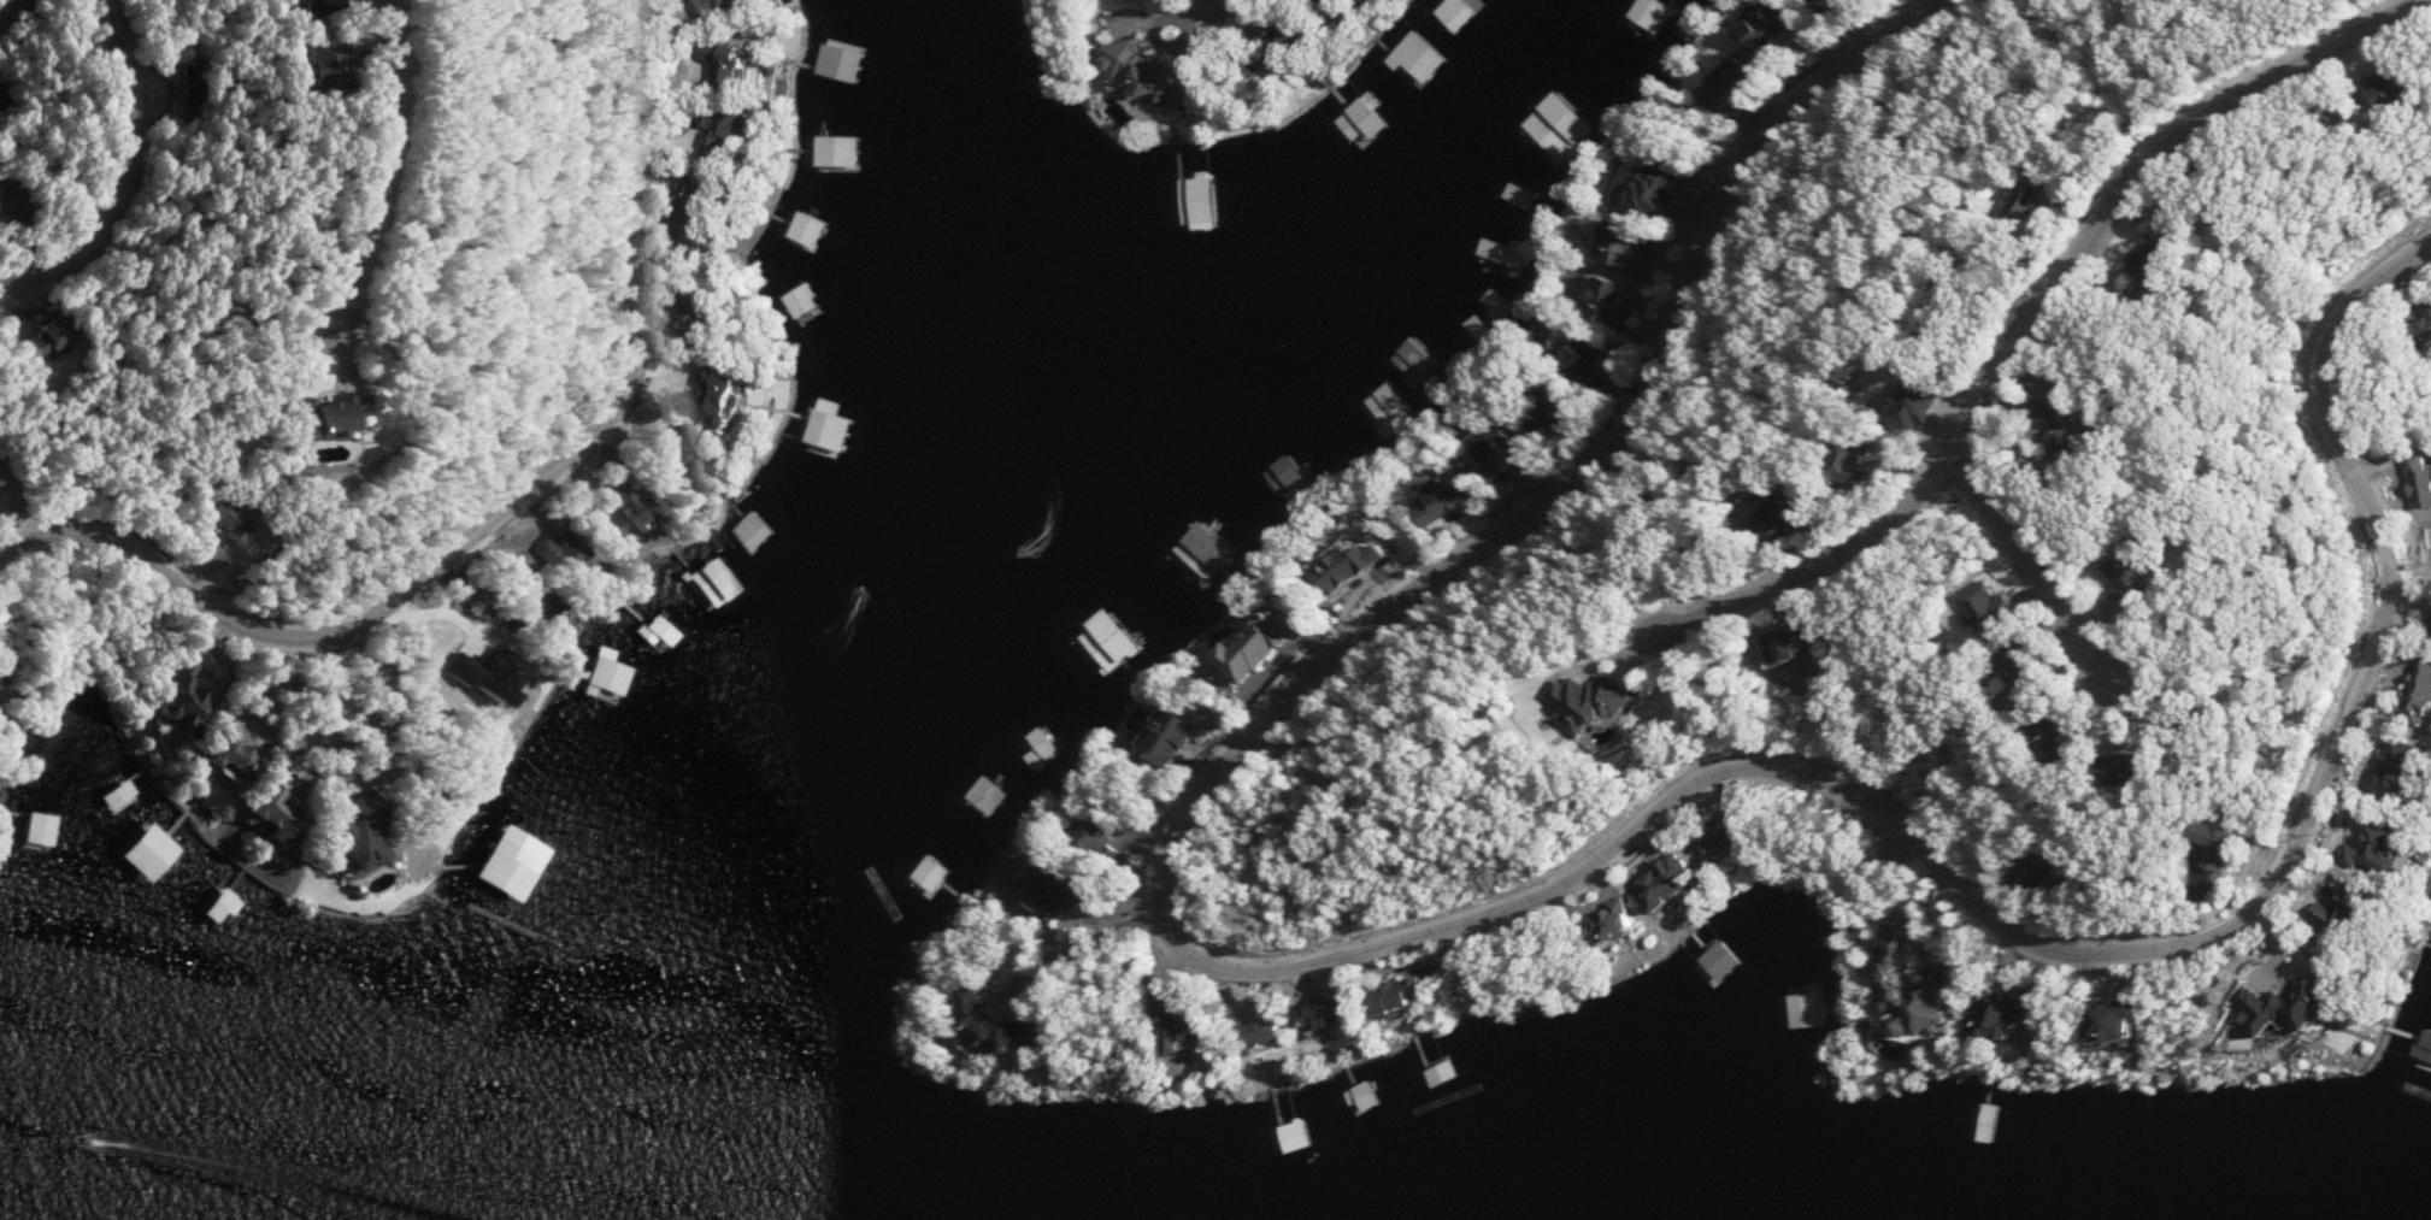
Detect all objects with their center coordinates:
building: (19, 1)
road: (1215, 1)
building: (1829, 4)
building: (348, 5)
building: (1337, 5)
building: (716, 6)
building: (1461, 19)
building: (1770, 24)
building: (1294, 41)
building: (357, 60)
building: (842, 60)
building: (1420, 60)
building: (742, 65)
building: (1154, 73)
building: (202, 79)
building: (2412, 79)
building: (1737, 82)
building: (1365, 106)
building: (1565, 124)
building: (731, 132)
building: (840, 153)
road: (382, 163)
road: (118, 170)
building: (1664, 187)
building: (2058, 193)
building: (1206, 202)
building: (694, 212)
road: (25, 234)
building: (1630, 242)
building: (1509, 251)
building: (1614, 299)
building: (801, 300)
road: (2049, 308)
building: (696, 310)
building: (2430, 316)
building: (60, 332)
building: (1421, 359)
building: (1589, 361)
building: (722, 395)
building: (1564, 408)
building: (2092, 409)
building: (354, 413)
building: (831, 426)
building: (1505, 450)
building: (690, 454)
building: (1290, 475)
building: (2426, 475)
building: (1, 481)
building: (1449, 501)
building: (1807, 514)
road: (500, 515)
building: (632, 517)
building: (245, 520)
building: (578, 548)
building: (1207, 553)
building: (1354, 566)
road: (2038, 568)
building: (2164, 576)
building: (1266, 640)
building: (1114, 641)
building: (2058, 674)
building: (610, 676)
building: (472, 677)
building: (1, 680)
building: (193, 695)
building: (2423, 697)
road: (329, 701)
building: (1619, 701)
building: (588, 737)
building: (2094, 738)
building: (1178, 741)
building: (242, 753)
building: (2408, 767)
building: (2170, 771)
building: (990, 795)
building: (286, 813)
building: (41, 829)
building: (1731, 832)
building: (371, 836)
building: (1109, 837)
building: (2394, 843)
building: (151, 851)
building: (2245, 851)
building: (511, 861)
building: (935, 873)
building: (2049, 876)
building: (1676, 882)
building: (1070, 886)
building: (2368, 901)
road: (1521, 902)
building: (217, 903)
building: (1766, 918)
building: (1620, 920)
building: (1725, 960)
building: (1921, 983)
building: (1406, 995)
building: (2317, 1002)
building: (1814, 1007)
building: (1329, 1013)
building: (2021, 1014)
building: (2131, 1020)
building: (1008, 1026)
building: (1188, 1029)
building: (1272, 1032)
building: (2426, 1044)
building: (1428, 1069)

